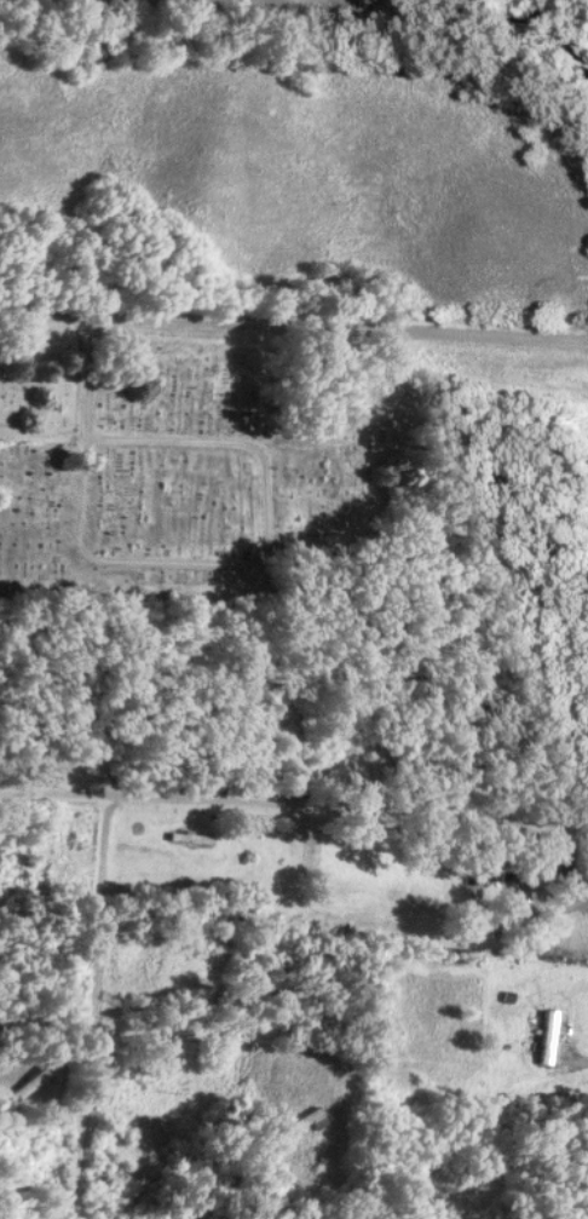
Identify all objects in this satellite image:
road: (293, 327)
road: (86, 422)
park: (198, 475)
road: (265, 516)
road: (294, 809)
building: (190, 838)
building: (553, 853)
building: (471, 887)
road: (97, 926)
road: (227, 1037)
building: (547, 1039)
building: (30, 1083)
building: (302, 1125)
road: (341, 1195)

